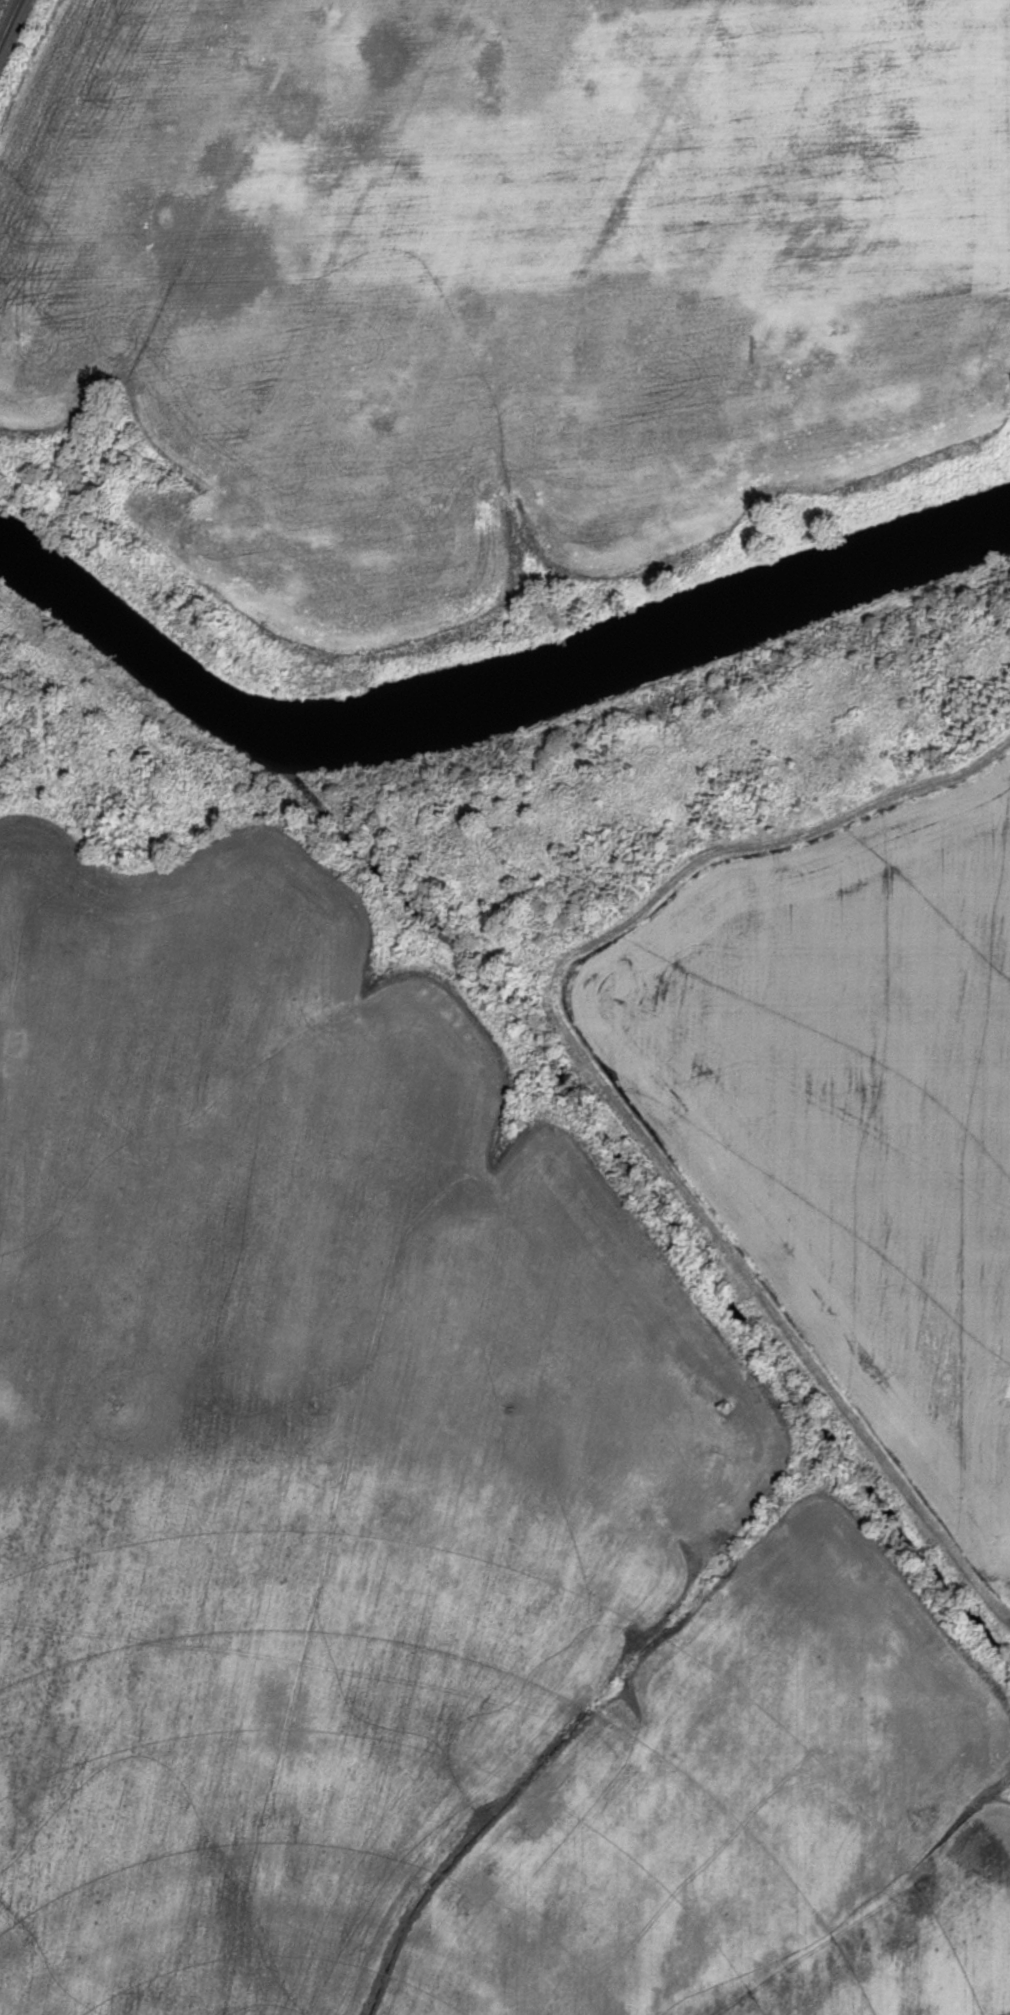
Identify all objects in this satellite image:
railway: (9, 23)

